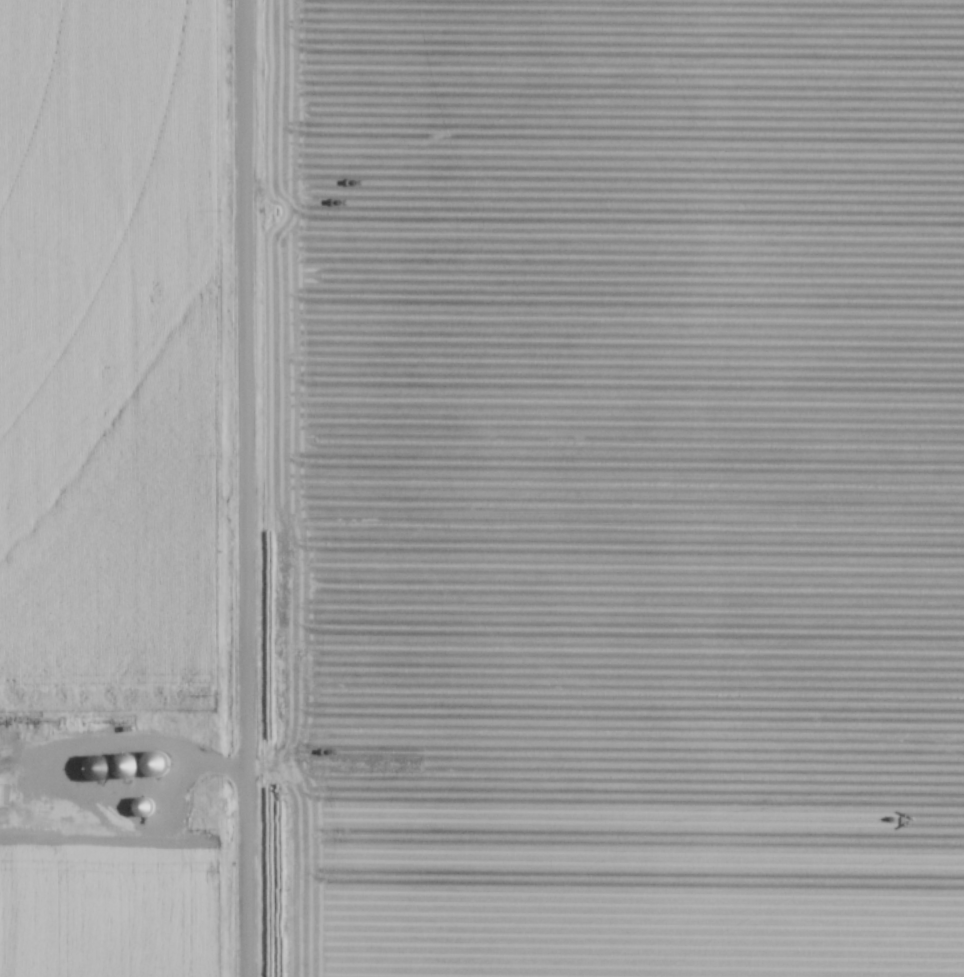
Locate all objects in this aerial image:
crop: (103, 350)
road: (243, 488)
crop: (614, 488)
silo: (154, 762)
road: (26, 763)
road: (52, 764)
silo: (126, 765)
building: (155, 766)
building: (125, 767)
road: (138, 791)
building: (2, 796)
silo: (143, 807)
building: (143, 808)
crop: (109, 908)

